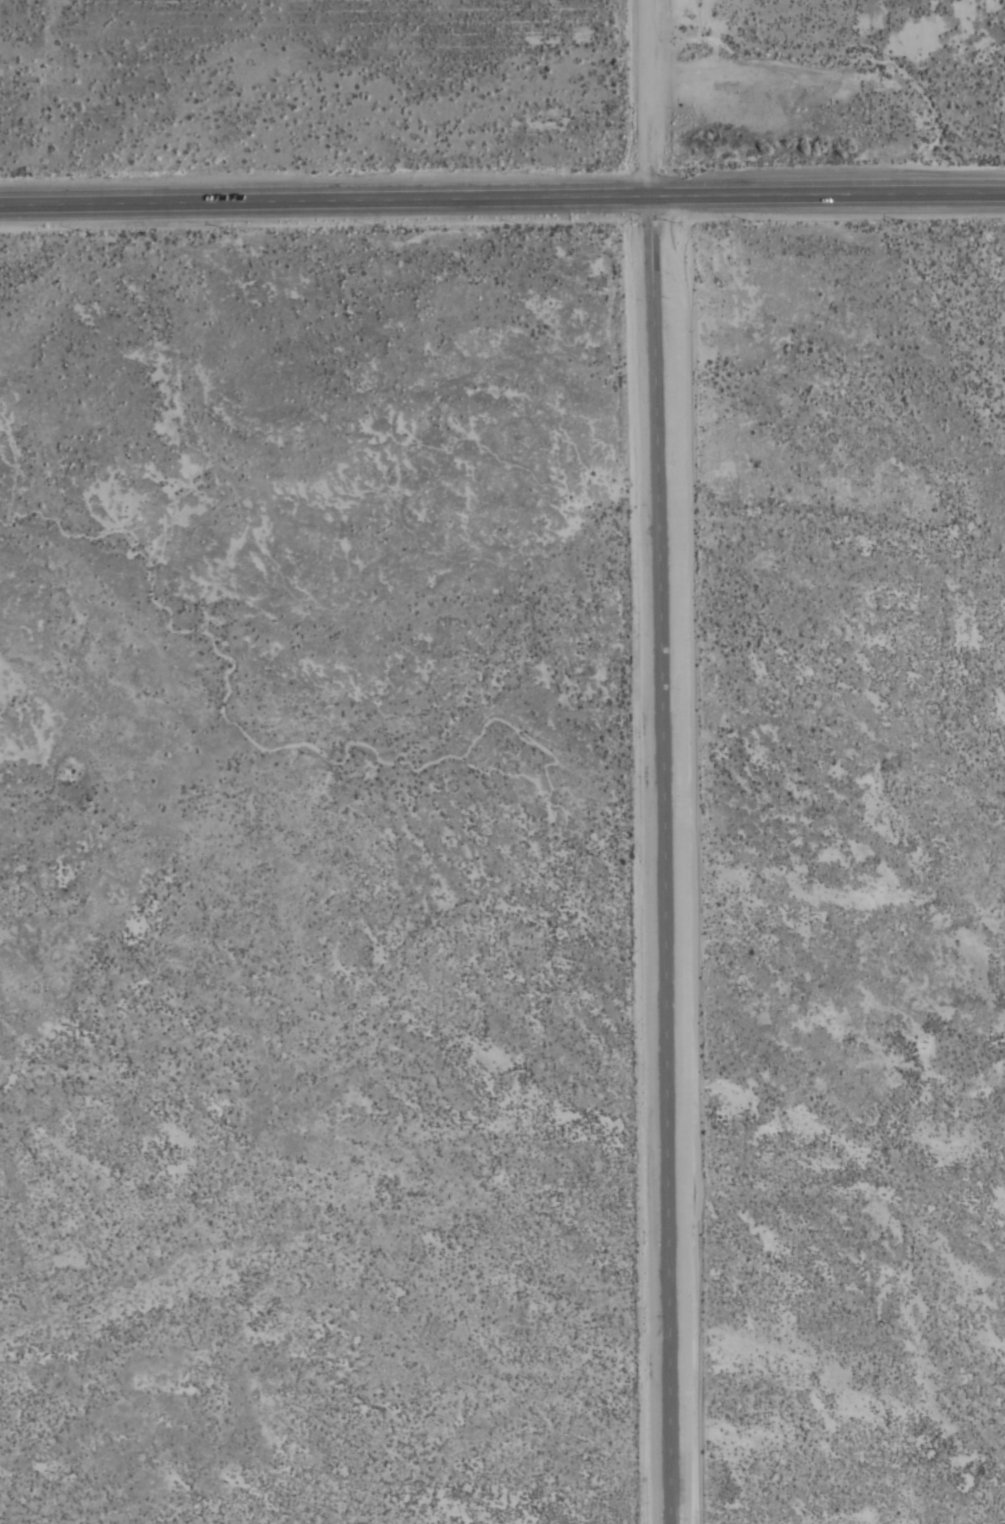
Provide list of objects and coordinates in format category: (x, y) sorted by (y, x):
road: (653, 100)
road: (830, 200)
road: (327, 204)
road: (662, 862)

